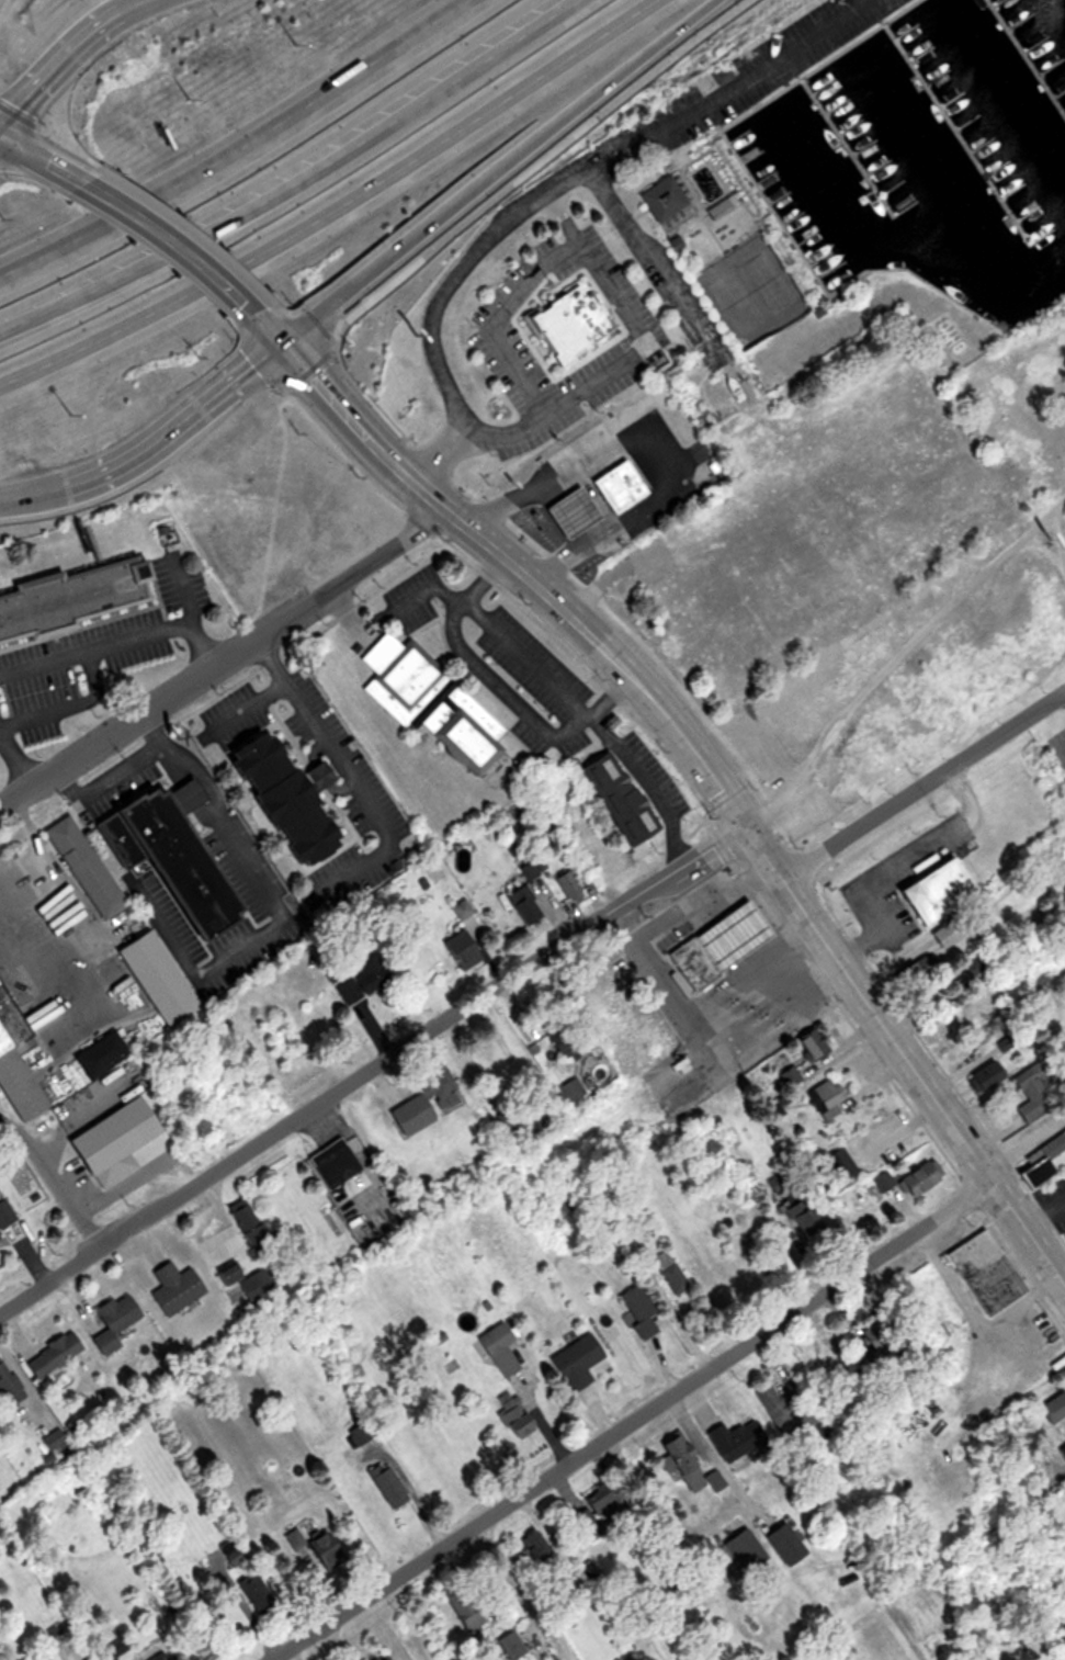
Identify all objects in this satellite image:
pier: (1026, 57)
road: (69, 58)
building: (721, 75)
road: (727, 84)
pier: (954, 131)
pier: (848, 147)
road: (256, 153)
road: (48, 167)
road: (489, 172)
road: (294, 180)
building: (667, 202)
road: (342, 208)
road: (175, 249)
road: (660, 263)
park: (752, 290)
road: (435, 297)
road: (501, 320)
building: (569, 324)
road: (634, 355)
road: (152, 445)
building: (927, 470)
building: (614, 485)
building: (567, 511)
road: (418, 596)
building: (75, 600)
road: (190, 613)
road: (97, 651)
road: (223, 659)
building: (397, 677)
road: (550, 681)
road: (70, 708)
road: (247, 710)
building: (457, 731)
road: (14, 758)
road: (700, 760)
road: (347, 779)
road: (109, 782)
road: (924, 786)
road: (646, 787)
building: (614, 798)
building: (291, 802)
building: (178, 855)
building: (80, 869)
building: (568, 885)
building: (936, 893)
building: (526, 895)
road: (276, 910)
building: (945, 931)
building: (726, 934)
building: (460, 951)
building: (690, 961)
building: (976, 965)
building: (914, 971)
building: (154, 975)
building: (362, 978)
building: (582, 985)
building: (562, 1038)
building: (808, 1043)
building: (99, 1053)
road: (372, 1069)
building: (14, 1072)
building: (1032, 1086)
building: (444, 1095)
building: (825, 1096)
building: (107, 1141)
building: (1040, 1160)
building: (331, 1162)
building: (838, 1163)
building: (917, 1176)
road: (55, 1177)
building: (877, 1181)
building: (797, 1211)
building: (4, 1212)
building: (1064, 1234)
building: (0, 1242)
building: (672, 1276)
building: (987, 1276)
building: (172, 1287)
building: (637, 1312)
building: (112, 1322)
building: (498, 1348)
building: (50, 1353)
building: (829, 1355)
building: (574, 1360)
building: (7, 1385)
building: (1052, 1408)
building: (785, 1409)
building: (510, 1413)
road: (628, 1419)
building: (735, 1437)
building: (53, 1439)
building: (1062, 1452)
building: (677, 1461)
building: (714, 1479)
building: (385, 1482)
building: (1033, 1491)
building: (593, 1513)
building: (782, 1544)
building: (315, 1546)
building: (534, 1548)
building: (231, 1549)
building: (737, 1552)
building: (253, 1592)
building: (457, 1607)
building: (109, 1641)
building: (509, 1645)
building: (156, 1656)
building: (379, 1657)

